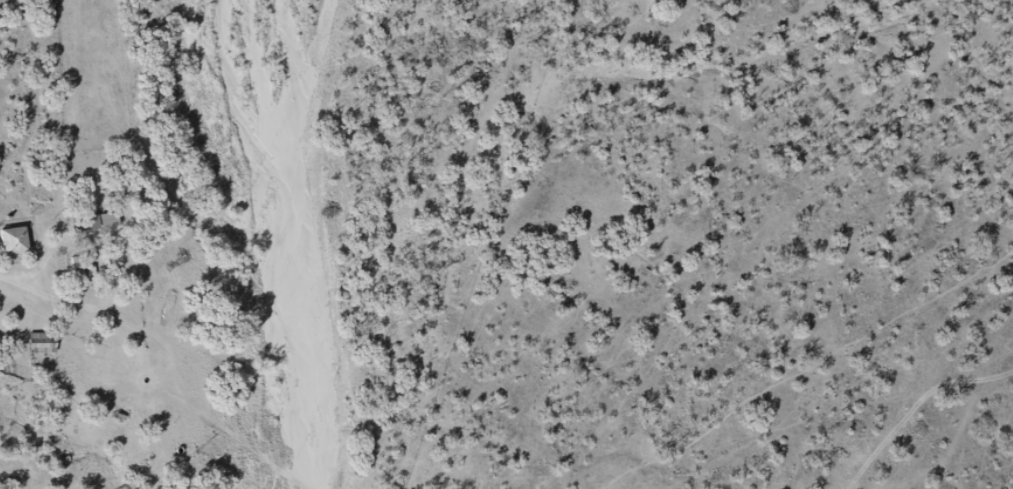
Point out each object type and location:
building: (94, 222)
building: (12, 241)
building: (41, 343)

